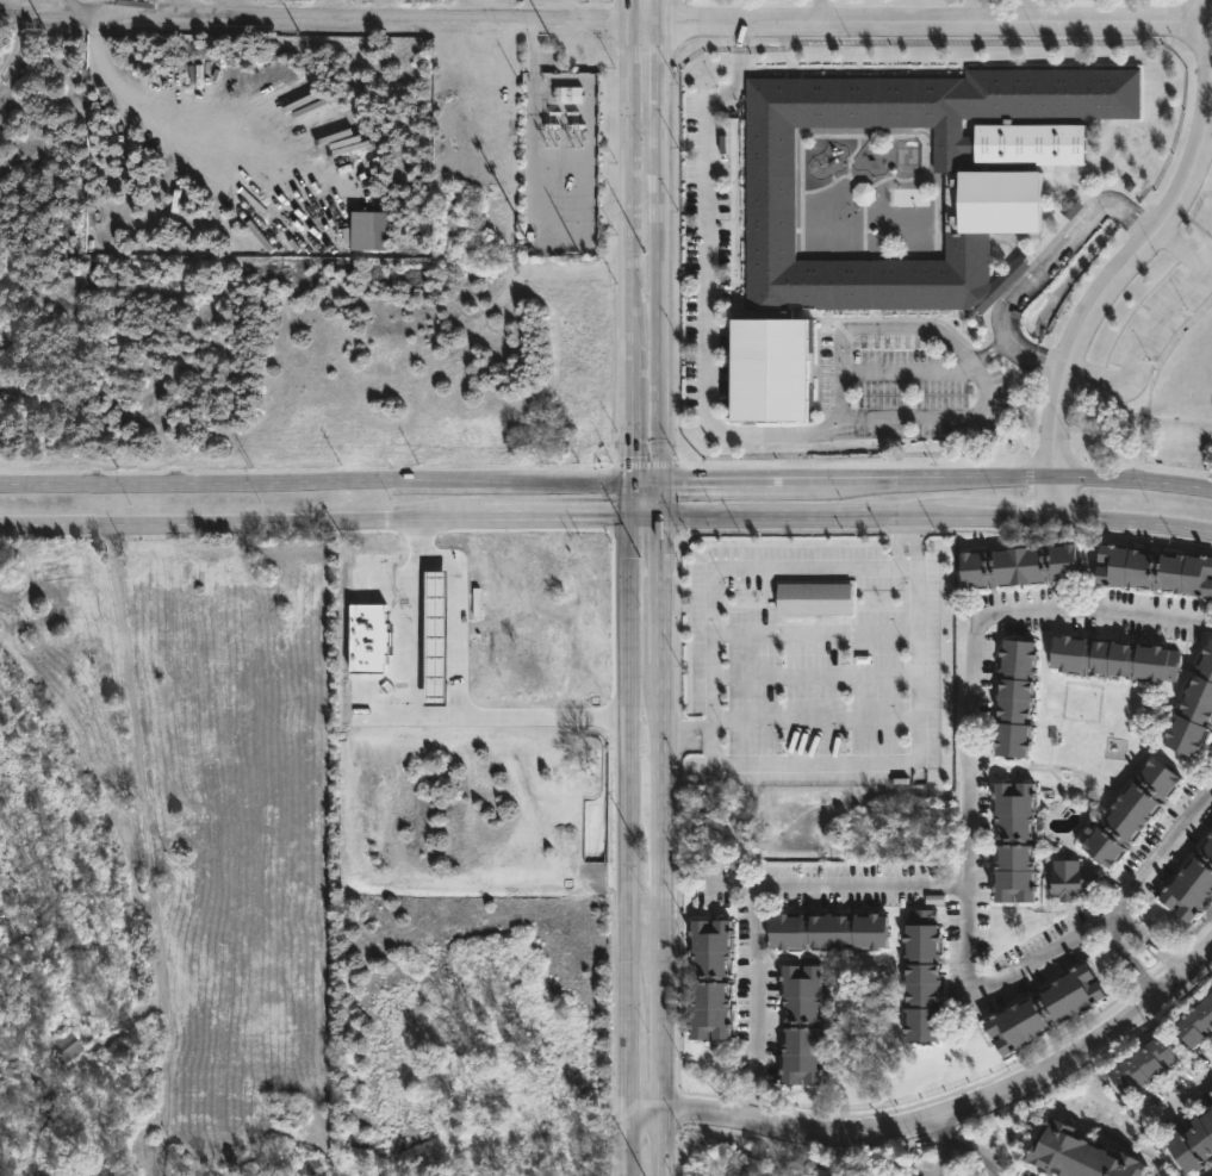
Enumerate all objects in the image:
road: (630, 13)
road: (657, 13)
road: (820, 13)
road: (975, 14)
road: (1027, 14)
road: (315, 23)
road: (644, 26)
road: (932, 29)
road: (534, 61)
road: (657, 73)
road: (1211, 112)
road: (169, 113)
road: (632, 178)
building: (993, 203)
building: (1070, 207)
building: (369, 231)
road: (1068, 243)
road: (1138, 259)
road: (658, 301)
road: (1157, 322)
road: (994, 351)
road: (1040, 354)
road: (632, 406)
road: (785, 431)
road: (893, 480)
road: (1080, 480)
road: (315, 483)
road: (747, 483)
traffic signals: (632, 484)
road: (645, 484)
traffic signals: (658, 484)
road: (659, 499)
road: (630, 500)
traffic signals: (660, 516)
road: (764, 516)
road: (906, 516)
road: (999, 516)
road: (571, 517)
traffic signals: (630, 517)
road: (439, 518)
road: (198, 522)
road: (1132, 522)
building: (1018, 566)
road: (729, 570)
building: (1154, 571)
building: (814, 598)
building: (1113, 660)
building: (1012, 698)
building: (1193, 710)
road: (427, 724)
road: (900, 760)
building: (1130, 811)
building: (1011, 839)
road: (530, 844)
road: (630, 846)
road: (660, 846)
road: (149, 848)
road: (974, 848)
building: (1069, 878)
building: (1189, 883)
road: (838, 885)
building: (826, 929)
road: (1150, 941)
road: (1132, 958)
building: (919, 973)
road: (762, 976)
building: (707, 978)
building: (1040, 1007)
building: (1194, 1020)
building: (798, 1023)
building: (70, 1053)
building: (1142, 1063)
road: (1185, 1106)
road: (945, 1115)
road: (950, 1134)
building: (1192, 1140)
road: (965, 1153)
building: (1076, 1153)
building: (310, 1168)
building: (1211, 1175)

